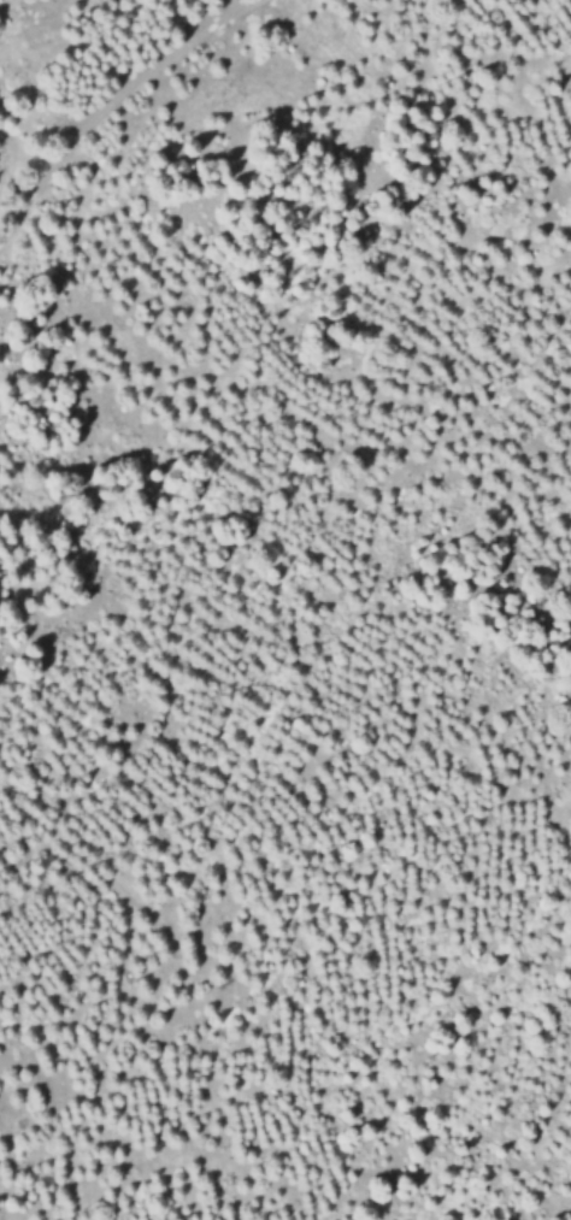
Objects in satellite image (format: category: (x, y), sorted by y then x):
road: (102, 105)

